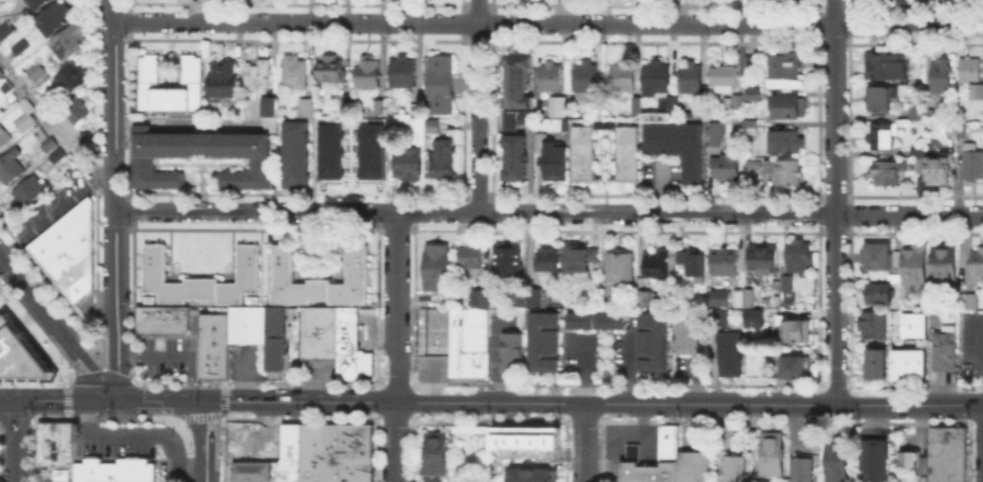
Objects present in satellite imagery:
building: (879, 0)
building: (3, 3)
building: (38, 4)
building: (57, 19)
road: (548, 23)
building: (5, 28)
building: (72, 42)
building: (22, 49)
building: (748, 63)
building: (753, 64)
building: (785, 66)
building: (327, 67)
building: (887, 68)
building: (148, 69)
building: (292, 70)
building: (401, 70)
building: (365, 71)
building: (256, 72)
building: (39, 73)
building: (1, 74)
building: (943, 76)
building: (659, 77)
building: (972, 77)
building: (221, 78)
building: (552, 78)
building: (624, 78)
building: (692, 78)
building: (73, 79)
building: (588, 80)
building: (726, 80)
building: (518, 82)
building: (438, 83)
building: (6, 88)
building: (755, 95)
building: (880, 101)
building: (347, 102)
building: (737, 103)
building: (303, 106)
road: (478, 106)
building: (377, 107)
building: (790, 107)
building: (28, 108)
building: (414, 108)
building: (561, 109)
building: (268, 110)
building: (78, 111)
building: (701, 112)
building: (517, 119)
road: (53, 124)
building: (752, 128)
building: (714, 132)
building: (963, 132)
building: (882, 137)
building: (4, 138)
building: (785, 143)
building: (677, 144)
building: (368, 150)
building: (328, 151)
building: (294, 153)
building: (581, 154)
building: (553, 157)
building: (440, 158)
building: (516, 158)
building: (405, 162)
building: (142, 163)
building: (12, 165)
building: (972, 165)
building: (726, 168)
building: (937, 169)
building: (786, 173)
building: (886, 174)
building: (33, 188)
road: (115, 200)
road: (834, 202)
road: (549, 213)
road: (49, 217)
building: (68, 249)
building: (469, 255)
building: (875, 255)
building: (763, 256)
building: (798, 256)
building: (895, 257)
building: (546, 258)
building: (577, 258)
building: (505, 259)
building: (723, 260)
building: (942, 260)
building: (976, 260)
building: (654, 262)
building: (913, 262)
building: (691, 263)
building: (617, 264)
building: (436, 266)
building: (891, 276)
building: (199, 277)
building: (317, 278)
building: (785, 281)
building: (774, 283)
building: (878, 292)
road: (28, 293)
building: (533, 295)
building: (748, 296)
building: (479, 297)
building: (645, 297)
building: (719, 297)
building: (148, 298)
building: (250, 298)
building: (519, 298)
building: (968, 300)
building: (602, 302)
road: (398, 307)
building: (720, 315)
building: (753, 316)
building: (161, 318)
building: (914, 318)
building: (933, 318)
building: (595, 319)
building: (245, 323)
building: (871, 323)
building: (793, 328)
building: (318, 330)
building: (433, 330)
building: (914, 330)
building: (213, 331)
building: (687, 332)
building: (272, 337)
building: (465, 337)
building: (543, 340)
building: (652, 342)
building: (350, 345)
building: (943, 347)
road: (978, 350)
building: (511, 351)
building: (730, 352)
building: (22, 353)
road: (153, 355)
building: (870, 362)
building: (880, 362)
building: (213, 363)
building: (479, 363)
building: (896, 363)
building: (907, 363)
building: (919, 363)
building: (789, 365)
road: (85, 366)
road: (630, 368)
road: (585, 370)
road: (245, 375)
road: (83, 376)
road: (188, 378)
road: (431, 380)
road: (59, 400)
traffic signals: (119, 401)
road: (162, 401)
traffic signals: (206, 402)
road: (302, 402)
road: (690, 404)
road: (794, 426)
road: (141, 435)
road: (206, 436)
building: (945, 437)
road: (629, 438)
building: (289, 439)
building: (304, 440)
building: (317, 440)
building: (329, 440)
building: (341, 440)
building: (353, 440)
building: (365, 440)
road: (16, 441)
building: (667, 441)
building: (55, 442)
road: (397, 442)
road: (584, 442)
parking lot: (114, 449)
building: (631, 451)
building: (434, 452)
building: (770, 452)
building: (873, 459)
building: (835, 460)
building: (945, 465)
building: (692, 466)
building: (911, 466)
building: (733, 468)
building: (131, 469)
building: (801, 469)
building: (91, 470)
building: (249, 470)
building: (334, 470)
building: (647, 471)
building: (531, 474)
road: (206, 476)
building: (431, 479)
building: (758, 481)

